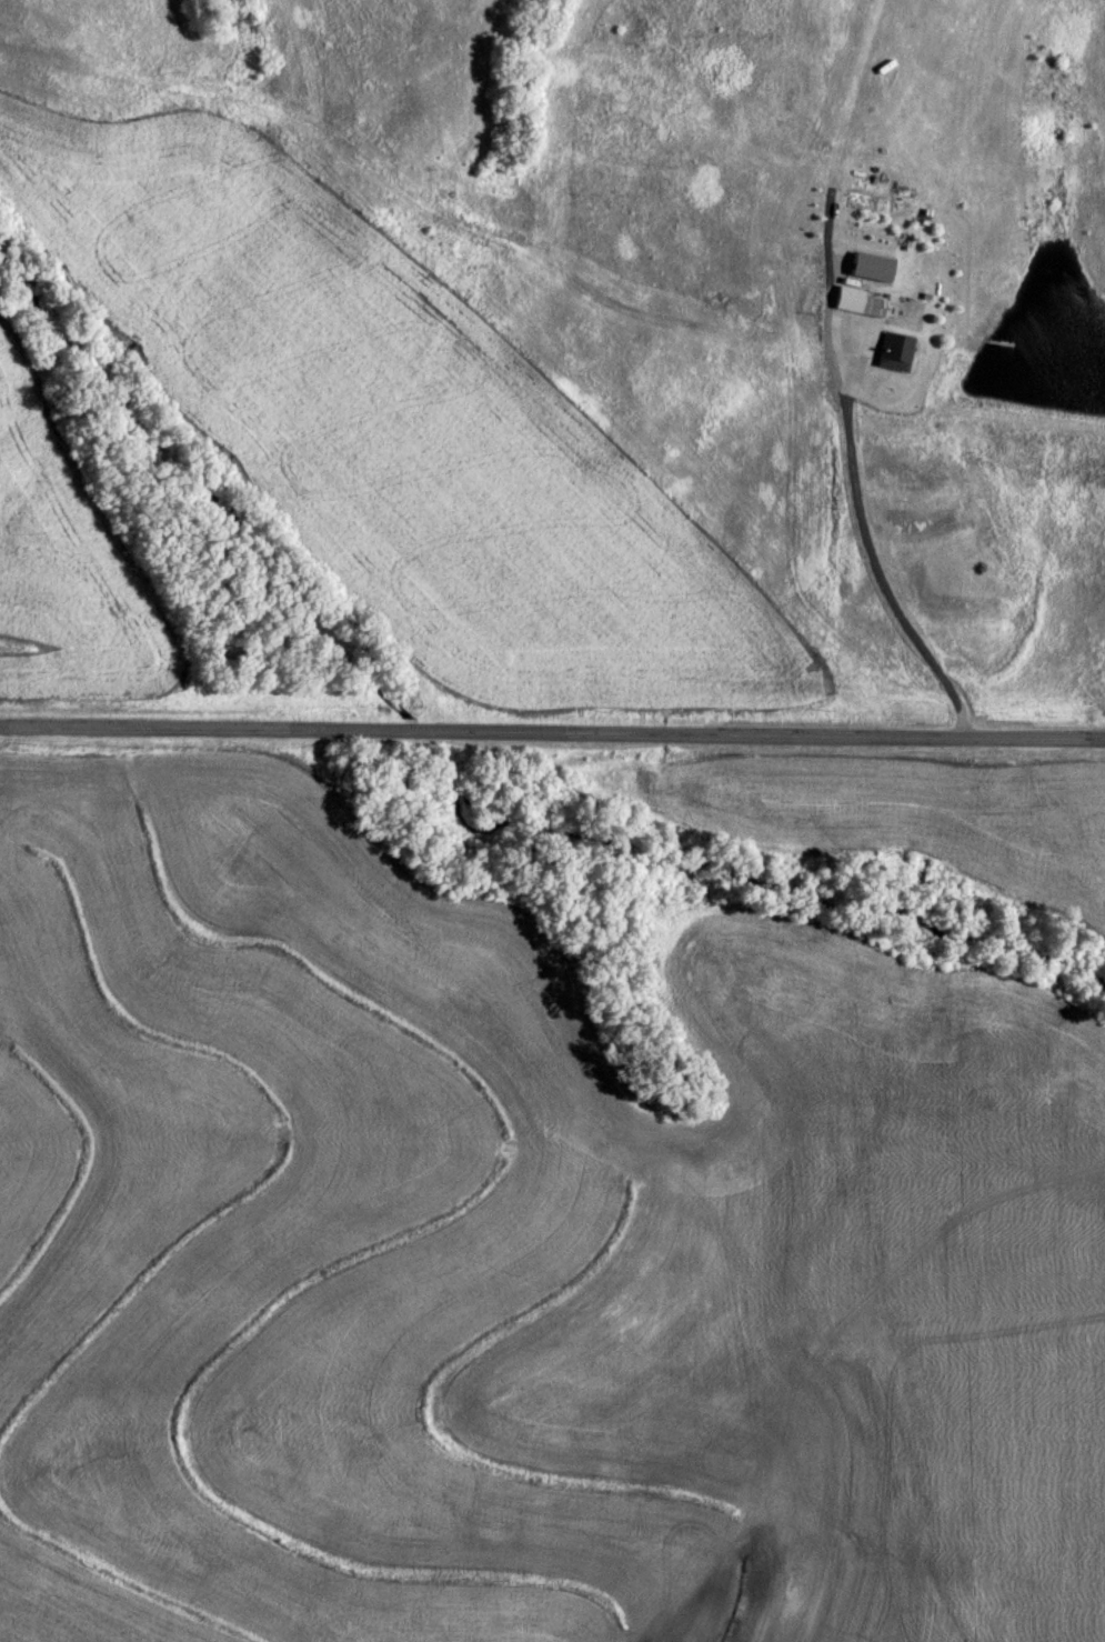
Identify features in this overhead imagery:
road: (552, 752)

